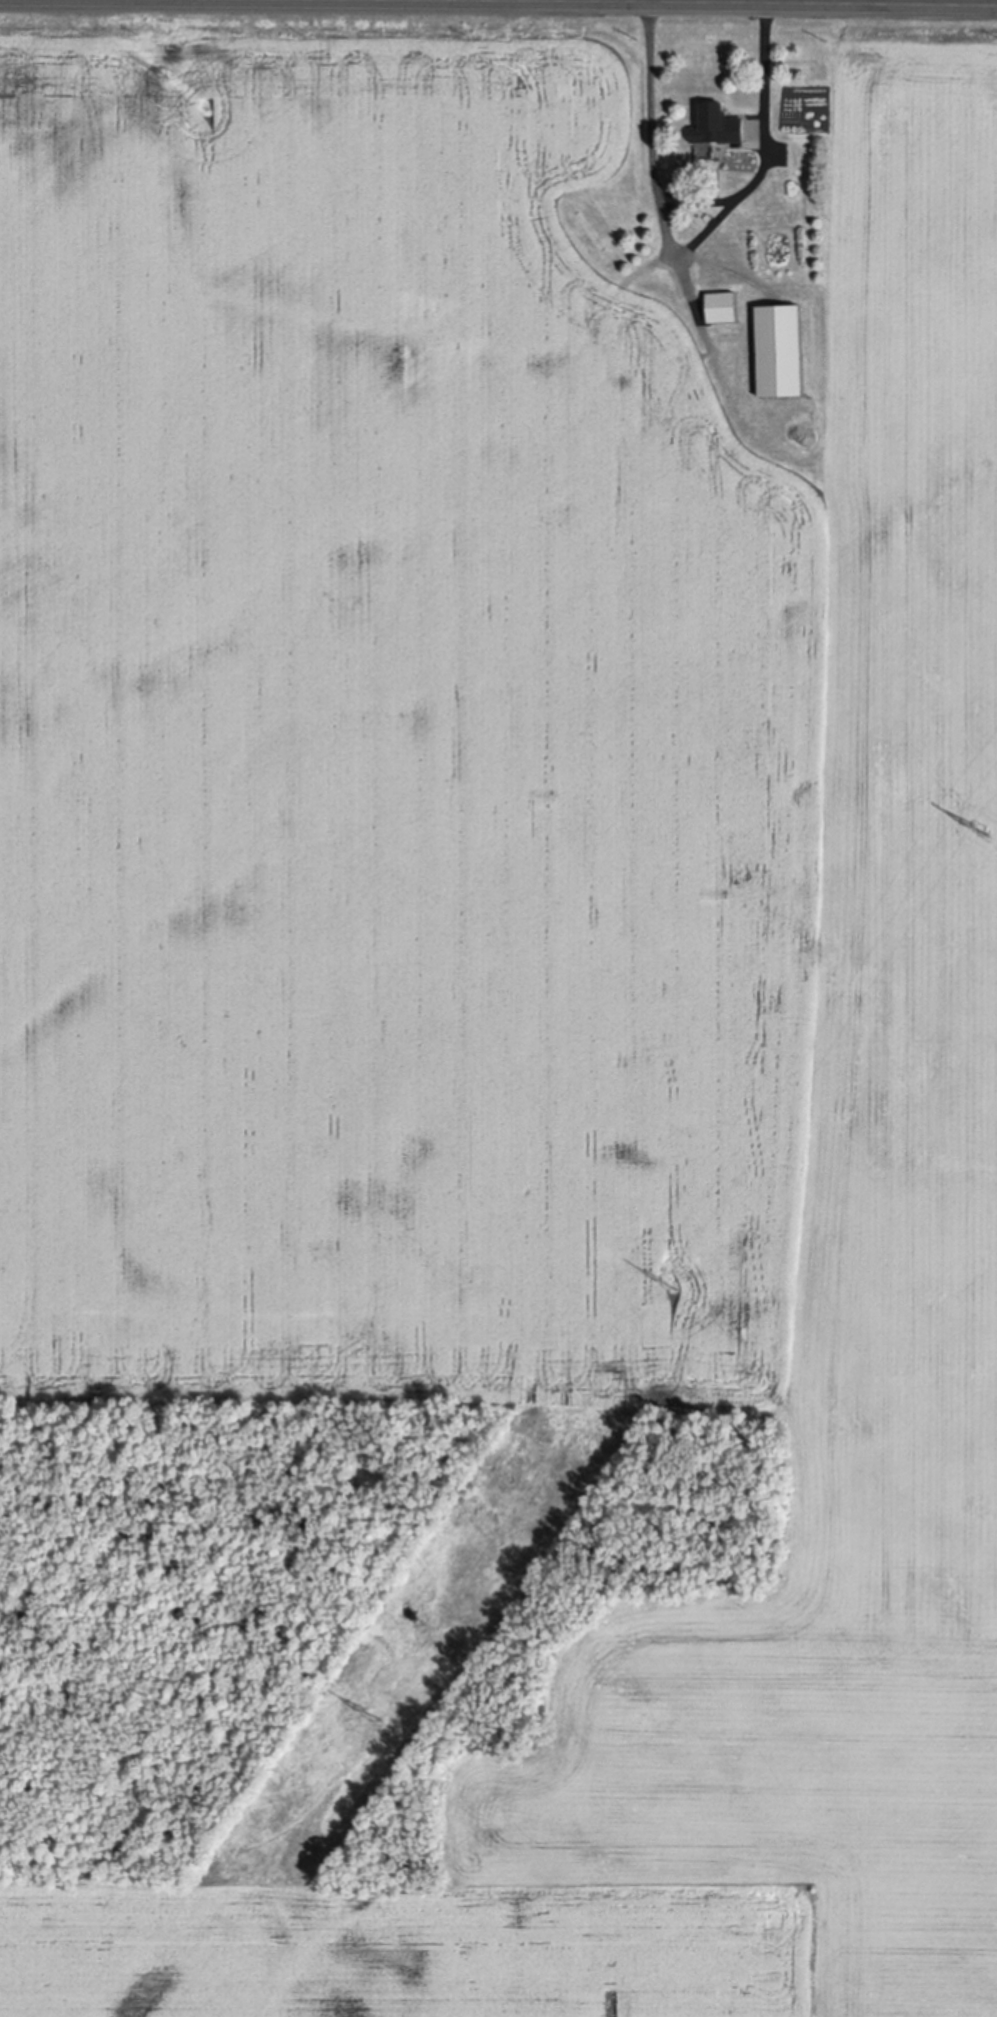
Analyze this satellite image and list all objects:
road: (498, 4)
power tower: (162, 73)
building: (717, 122)
road: (705, 205)
building: (722, 305)
building: (780, 347)
power tower: (981, 827)
power tower: (669, 1284)
quarry: (574, 1308)
power tower: (374, 1714)

